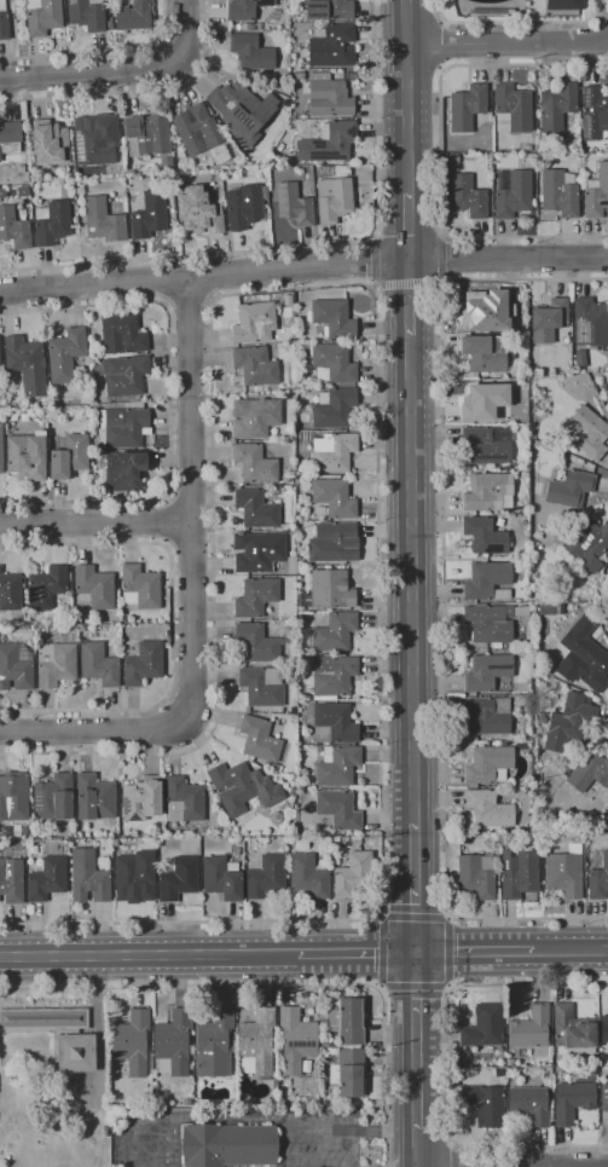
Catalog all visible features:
building: (564, 5)
building: (245, 8)
building: (328, 10)
building: (87, 15)
building: (134, 15)
building: (42, 16)
building: (4, 22)
road: (519, 22)
road: (406, 23)
building: (243, 27)
road: (186, 30)
road: (506, 42)
road: (445, 45)
building: (331, 46)
road: (99, 51)
building: (250, 52)
building: (299, 57)
road: (93, 69)
road: (141, 93)
building: (330, 93)
building: (232, 99)
building: (467, 108)
building: (556, 108)
building: (513, 109)
building: (595, 112)
road: (407, 120)
building: (193, 128)
building: (146, 135)
building: (10, 139)
building: (92, 139)
building: (328, 143)
building: (50, 144)
building: (527, 148)
road: (439, 151)
building: (453, 158)
building: (322, 171)
building: (513, 193)
building: (558, 193)
building: (597, 195)
building: (467, 197)
building: (336, 200)
building: (294, 204)
building: (245, 206)
building: (203, 210)
building: (149, 214)
building: (103, 220)
building: (51, 223)
road: (409, 227)
building: (13, 229)
road: (305, 245)
road: (303, 267)
road: (209, 277)
road: (164, 281)
road: (438, 283)
road: (404, 284)
road: (374, 287)
road: (190, 302)
building: (482, 307)
road: (410, 311)
building: (334, 318)
building: (549, 320)
building: (255, 322)
building: (590, 323)
building: (525, 329)
building: (122, 334)
building: (485, 353)
building: (65, 354)
building: (0, 360)
building: (334, 363)
building: (27, 364)
building: (256, 364)
building: (125, 375)
building: (294, 375)
road: (376, 386)
road: (169, 400)
building: (483, 401)
building: (332, 408)
building: (539, 408)
building: (255, 418)
building: (123, 428)
building: (586, 433)
building: (487, 444)
building: (0, 447)
building: (332, 451)
building: (27, 456)
building: (69, 457)
building: (254, 463)
building: (126, 472)
road: (191, 486)
building: (571, 489)
building: (488, 492)
building: (334, 497)
road: (187, 501)
building: (256, 509)
road: (166, 521)
road: (93, 527)
building: (485, 536)
building: (332, 542)
building: (587, 543)
road: (189, 544)
building: (257, 551)
building: (291, 565)
building: (487, 582)
building: (46, 587)
building: (94, 587)
building: (140, 587)
building: (329, 590)
building: (10, 591)
road: (412, 593)
road: (444, 595)
building: (256, 596)
building: (521, 611)
building: (488, 623)
road: (172, 624)
building: (334, 632)
building: (256, 642)
building: (583, 657)
building: (54, 664)
building: (98, 664)
building: (143, 664)
building: (16, 666)
building: (490, 674)
building: (332, 676)
building: (261, 686)
building: (277, 710)
building: (487, 716)
building: (542, 720)
building: (569, 722)
building: (334, 723)
road: (93, 727)
building: (259, 739)
building: (521, 747)
building: (569, 749)
building: (488, 764)
building: (337, 766)
building: (271, 767)
building: (589, 772)
building: (233, 784)
building: (53, 797)
building: (140, 797)
building: (94, 798)
building: (13, 801)
building: (183, 801)
building: (338, 809)
building: (488, 809)
building: (272, 816)
building: (607, 827)
building: (465, 838)
building: (272, 844)
building: (237, 851)
building: (519, 873)
building: (353, 874)
building: (563, 874)
building: (308, 876)
building: (476, 876)
building: (89, 877)
building: (266, 877)
building: (134, 878)
building: (221, 878)
building: (47, 879)
building: (179, 879)
building: (11, 880)
building: (598, 880)
road: (415, 888)
road: (415, 914)
road: (571, 951)
road: (382, 952)
road: (474, 952)
road: (355, 953)
road: (448, 953)
road: (149, 955)
road: (186, 987)
road: (415, 992)
building: (44, 1021)
building: (351, 1021)
road: (95, 1027)
building: (483, 1027)
building: (531, 1028)
building: (573, 1028)
building: (604, 1029)
building: (296, 1040)
building: (132, 1041)
building: (173, 1042)
building: (214, 1044)
building: (256, 1044)
building: (74, 1052)
road: (416, 1059)
building: (509, 1063)
road: (448, 1064)
building: (348, 1073)
road: (382, 1079)
building: (274, 1084)
building: (604, 1097)
building: (573, 1102)
building: (531, 1104)
building: (485, 1105)
road: (272, 1117)
road: (135, 1123)
building: (228, 1145)
road: (452, 1155)

